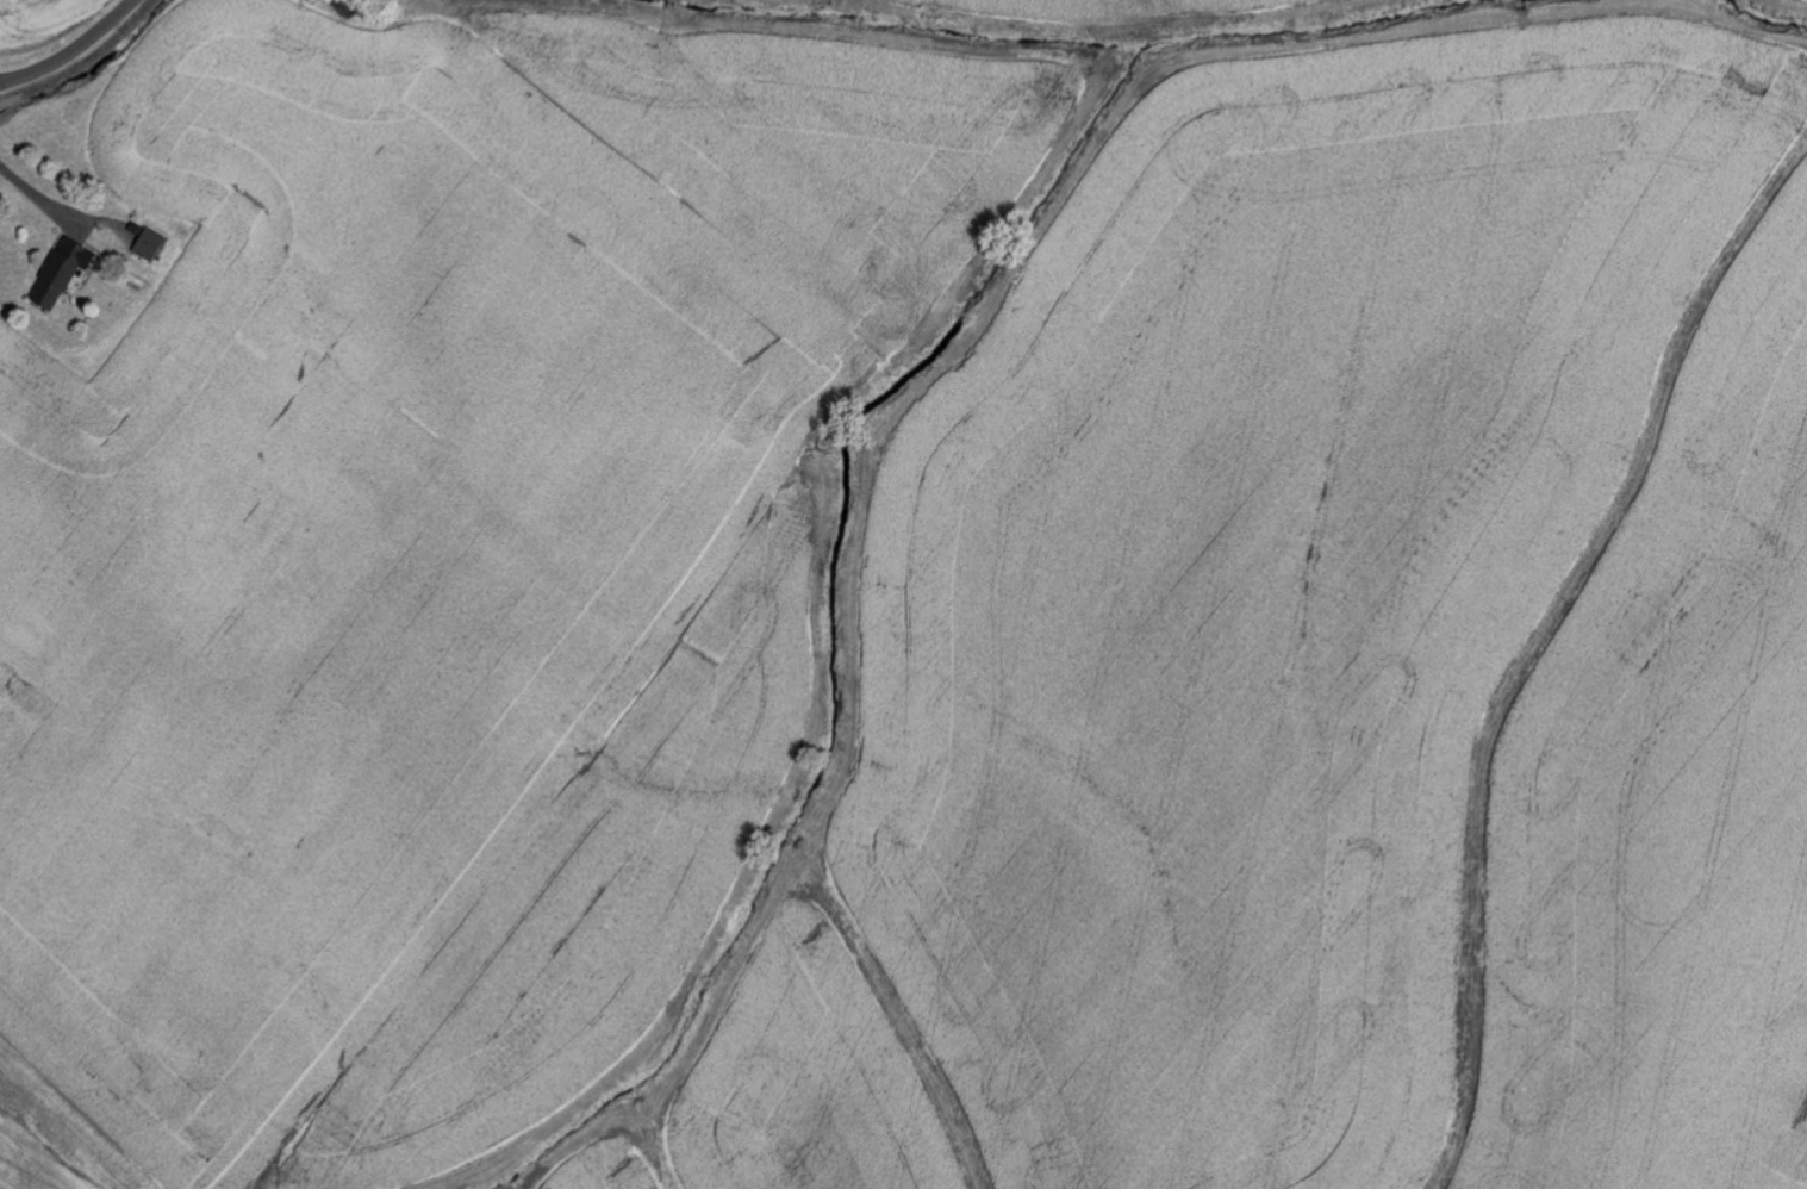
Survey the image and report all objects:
road: (69, 49)
building: (151, 245)
building: (64, 273)

